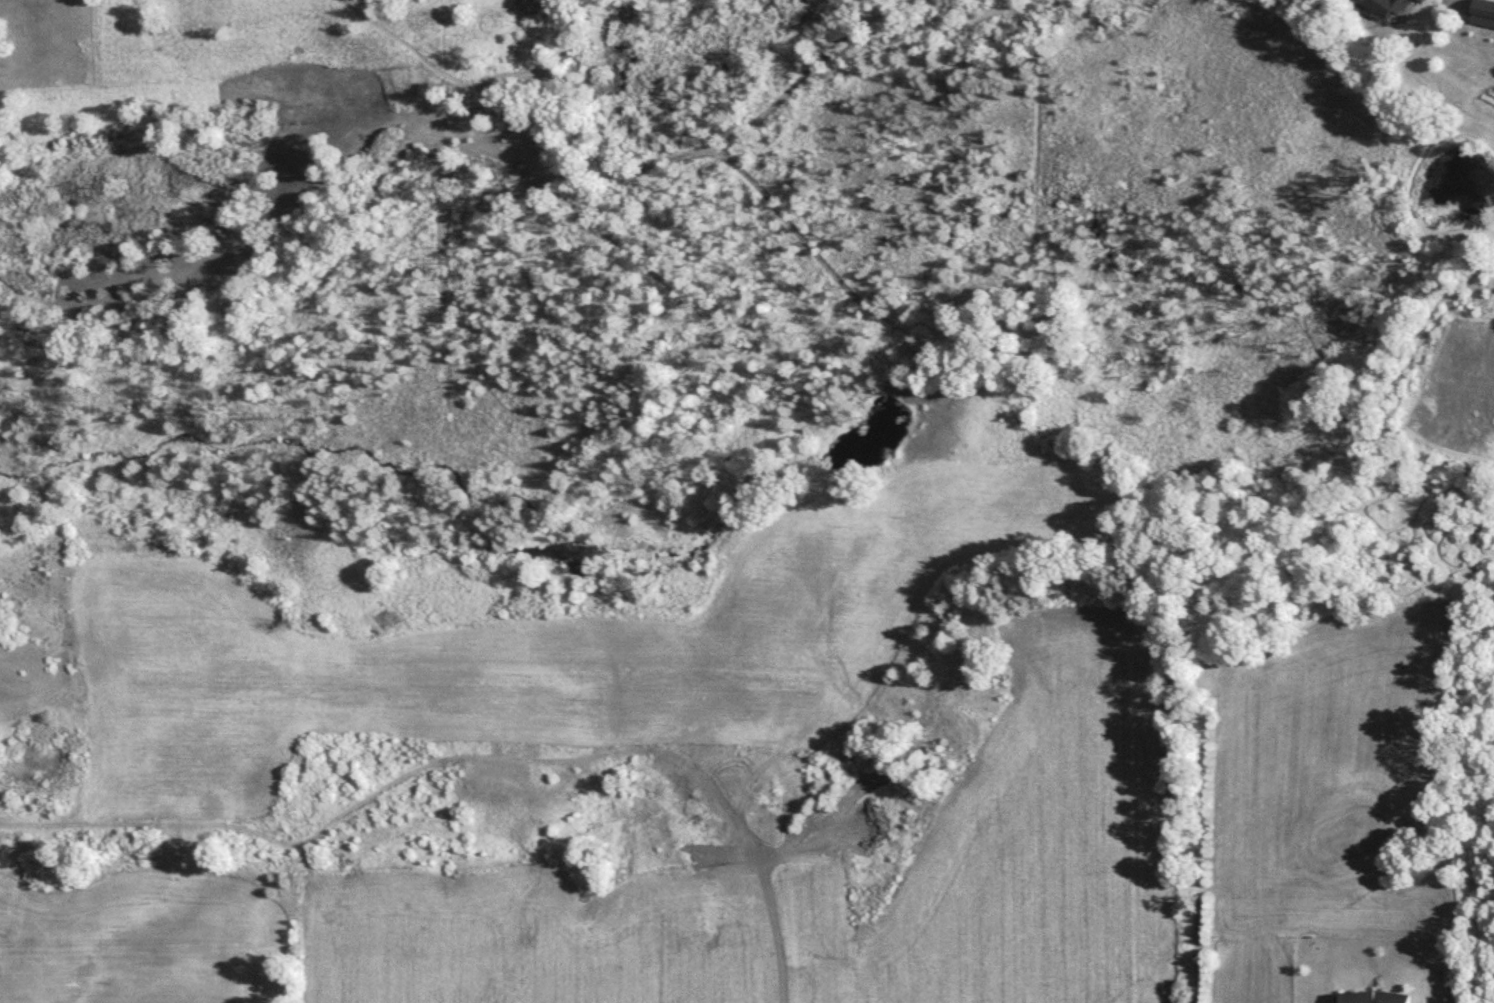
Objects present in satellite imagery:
building: (1386, 7)
building: (1484, 16)
building: (1373, 998)

